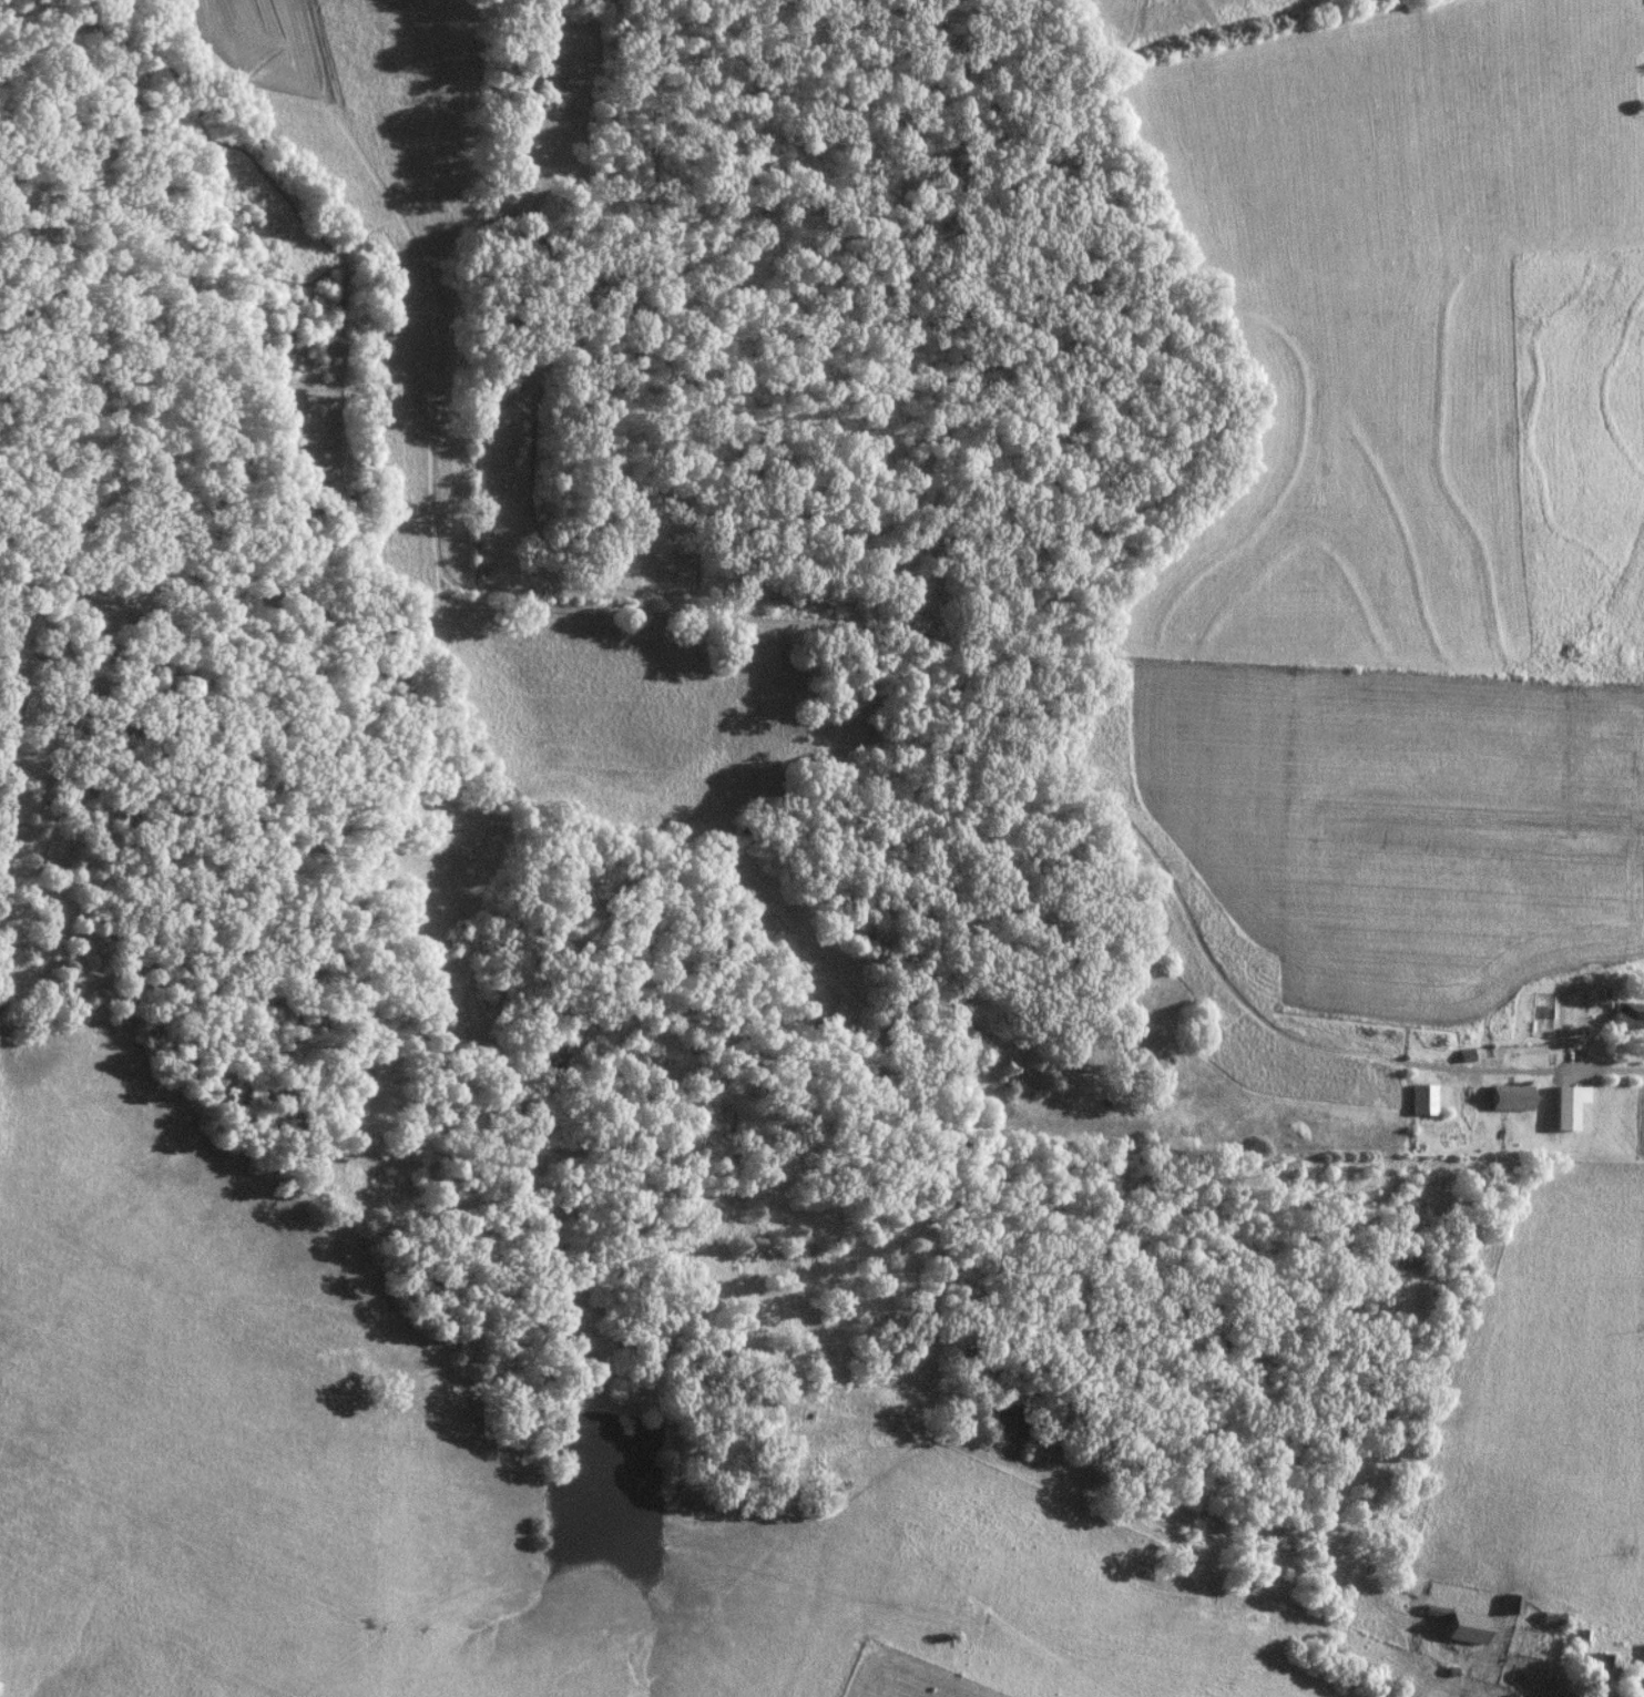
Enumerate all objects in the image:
building: (1627, 1016)
building: (1467, 1056)
road: (1607, 1069)
building: (1510, 1098)
building: (1421, 1100)
building: (1513, 1606)
building: (1550, 1619)
building: (1461, 1628)
building: (1596, 1667)
building: (1643, 1688)

